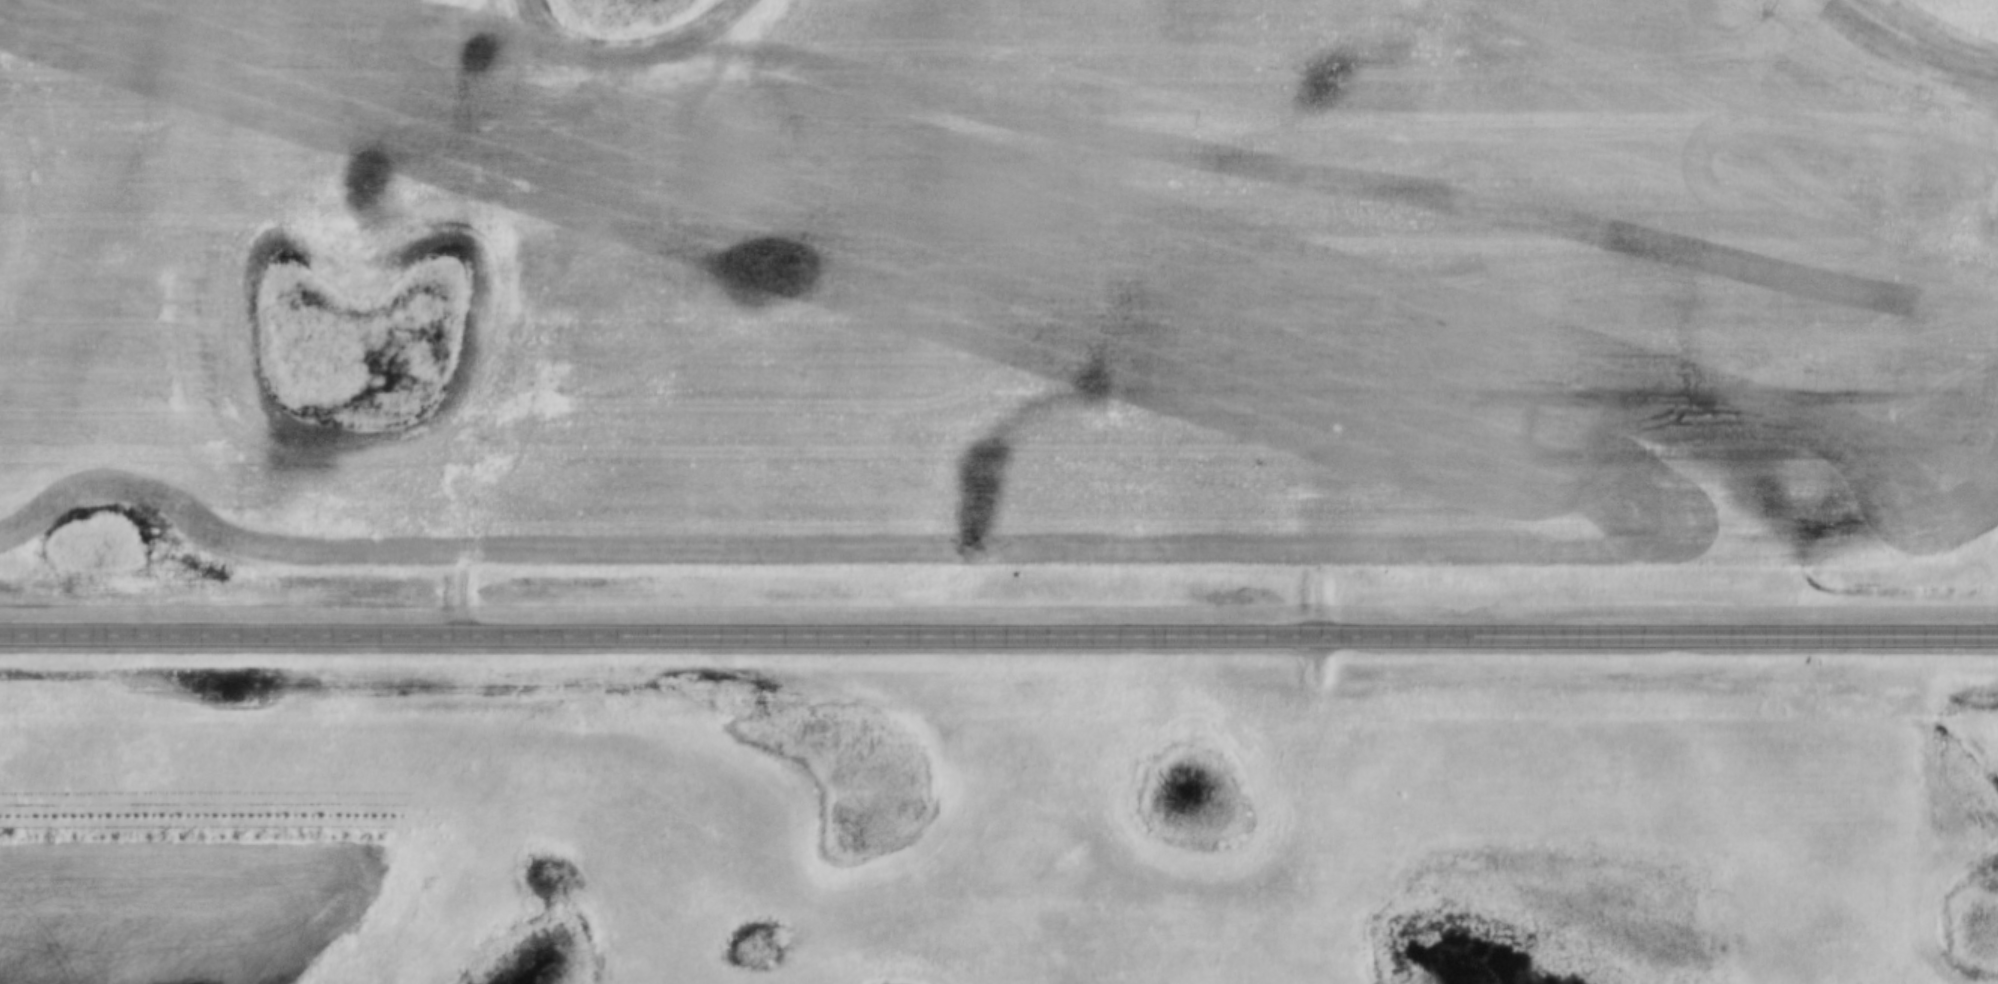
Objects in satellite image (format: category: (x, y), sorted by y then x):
road: (998, 633)

